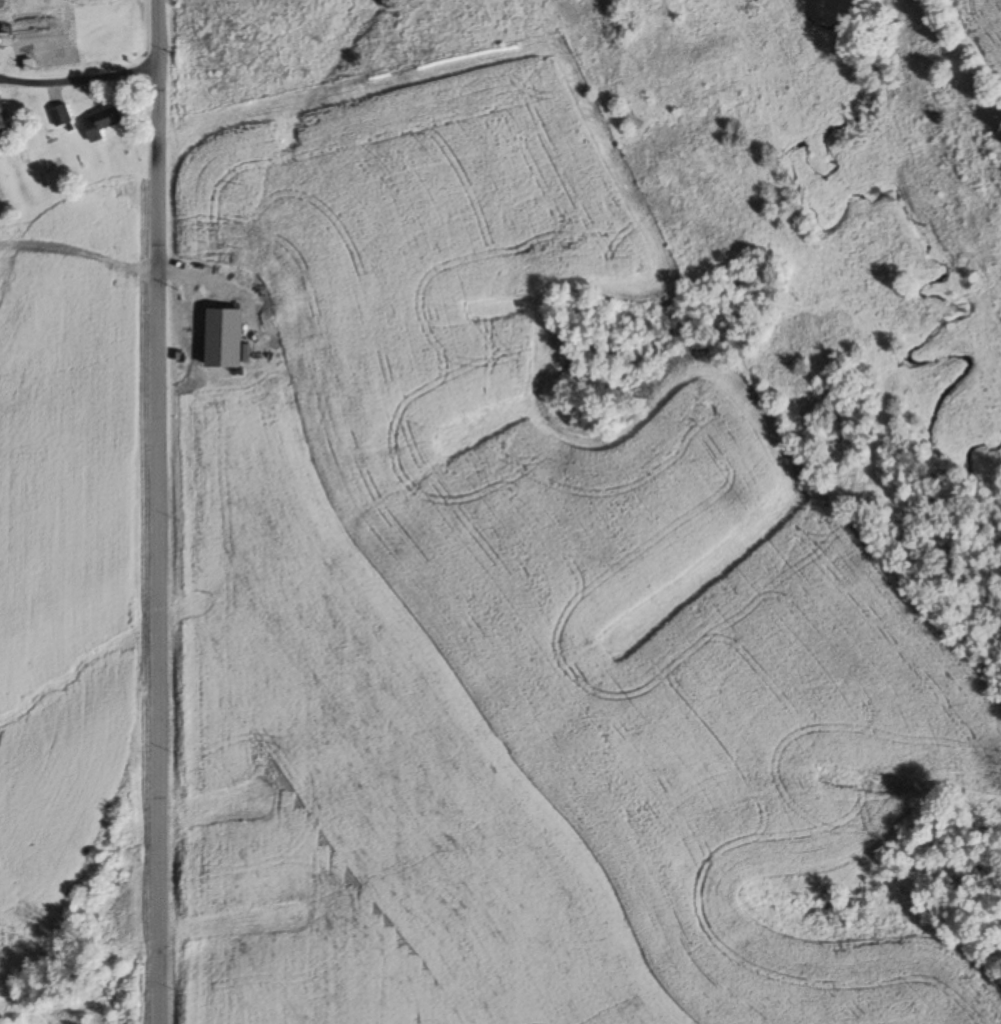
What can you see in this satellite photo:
building: (2, 13)
road: (78, 76)
building: (60, 115)
building: (2, 120)
building: (100, 123)
road: (158, 511)

